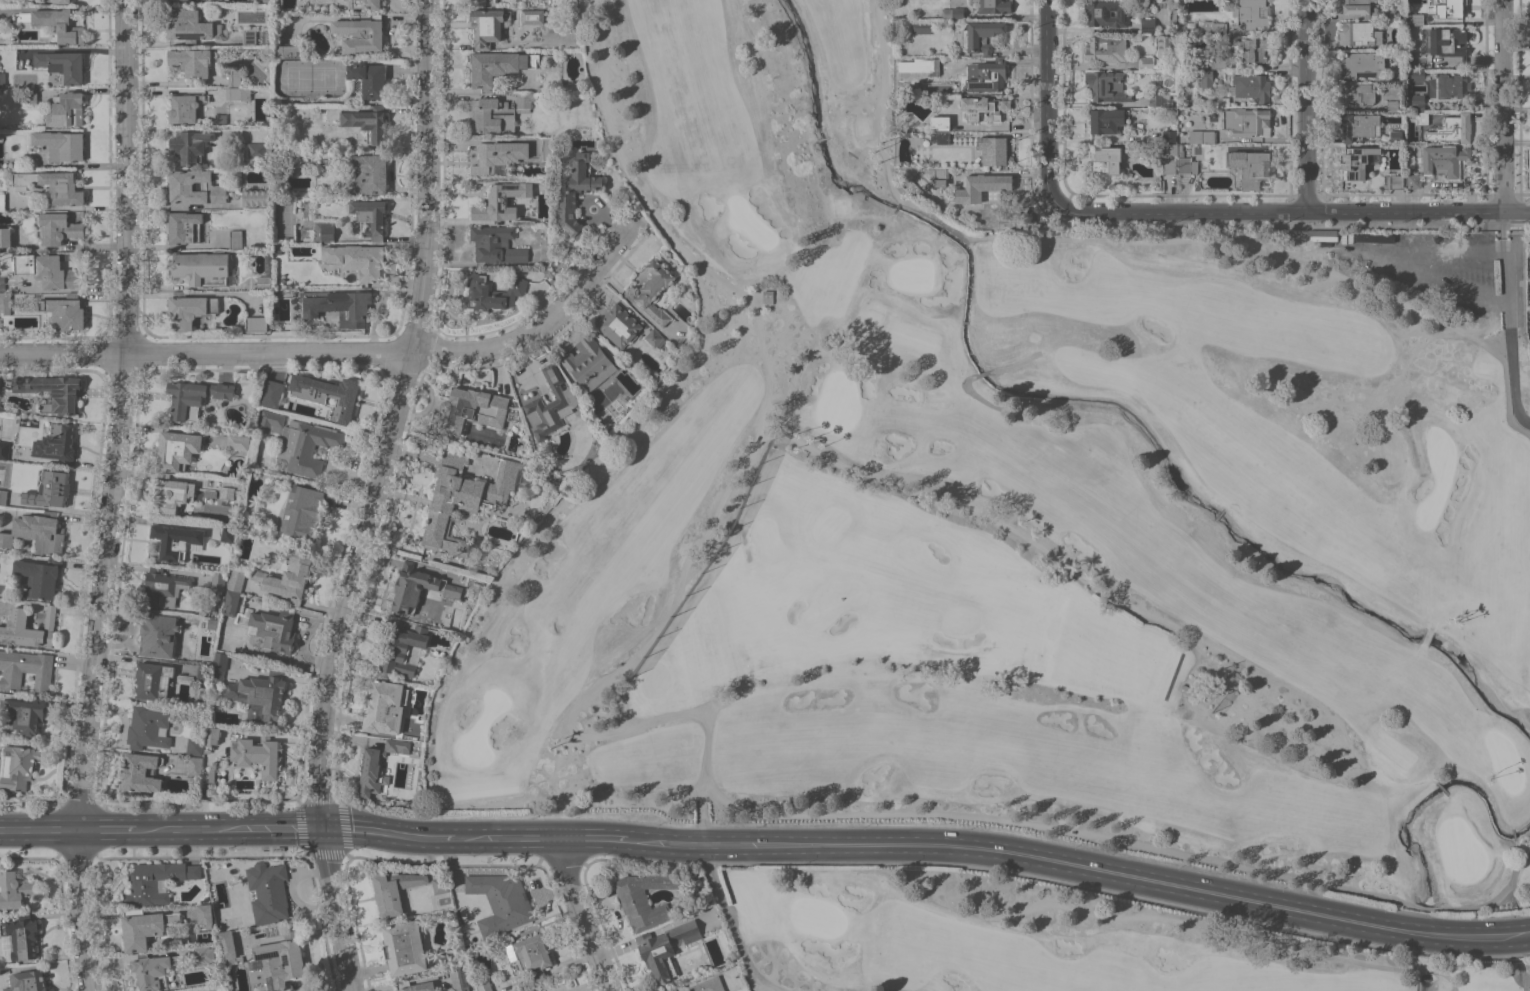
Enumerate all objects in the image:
building: (60, 1)
building: (180, 1)
building: (484, 1)
building: (364, 4)
building: (994, 6)
building: (1356, 6)
building: (1449, 8)
building: (1107, 12)
building: (1394, 12)
building: (951, 13)
building: (1250, 13)
building: (532, 16)
building: (1414, 19)
building: (1148, 23)
building: (59, 25)
building: (187, 25)
building: (488, 26)
building: (921, 26)
building: (1216, 28)
building: (1359, 33)
building: (359, 34)
building: (249, 36)
building: (980, 36)
building: (1448, 42)
building: (1164, 44)
building: (1250, 47)
building: (1106, 49)
building: (288, 51)
building: (191, 62)
building: (1145, 62)
building: (1209, 62)
building: (1363, 64)
building: (62, 65)
building: (497, 66)
building: (927, 66)
building: (1414, 74)
building: (990, 75)
building: (1397, 76)
building: (234, 77)
building: (1205, 79)
building: (2, 80)
building: (367, 80)
building: (1108, 85)
building: (1452, 85)
building: (569, 86)
building: (1250, 87)
building: (239, 93)
building: (1357, 93)
building: (29, 97)
building: (1160, 99)
road: (1045, 101)
building: (1414, 102)
building: (1392, 105)
road: (1501, 105)
road: (1303, 106)
building: (983, 107)
building: (184, 108)
building: (66, 109)
building: (498, 113)
building: (1419, 117)
building: (221, 119)
building: (1106, 120)
building: (940, 121)
building: (1246, 122)
building: (367, 123)
building: (1358, 125)
building: (1457, 127)
building: (1167, 135)
building: (1202, 136)
building: (1396, 136)
building: (940, 137)
building: (61, 145)
building: (190, 145)
building: (545, 148)
building: (258, 150)
building: (993, 151)
building: (497, 157)
building: (1168, 157)
building: (295, 158)
building: (1106, 159)
building: (1443, 160)
building: (1358, 161)
road: (78, 164)
building: (1186, 164)
building: (1251, 168)
building: (365, 172)
building: (937, 176)
building: (1413, 180)
building: (1394, 182)
building: (52, 186)
building: (981, 186)
building: (213, 187)
building: (572, 191)
building: (254, 197)
building: (928, 197)
building: (501, 200)
building: (2, 201)
road: (1289, 212)
building: (369, 217)
road: (1501, 218)
building: (58, 228)
building: (184, 228)
building: (323, 231)
road: (1501, 231)
building: (5, 236)
road: (1149, 238)
building: (235, 239)
building: (496, 244)
building: (562, 245)
building: (278, 253)
building: (356, 259)
road: (1430, 260)
building: (203, 268)
road: (1503, 268)
building: (47, 270)
building: (265, 275)
building: (654, 290)
building: (492, 292)
building: (767, 293)
building: (4, 303)
building: (337, 305)
building: (189, 309)
building: (64, 311)
building: (256, 324)
building: (618, 325)
building: (654, 338)
road: (348, 355)
building: (617, 359)
building: (588, 363)
road: (1015, 364)
road: (1511, 365)
road: (981, 373)
building: (52, 392)
building: (270, 392)
building: (327, 394)
road: (975, 395)
building: (194, 397)
building: (550, 405)
building: (1, 408)
building: (471, 409)
road: (120, 416)
road: (393, 417)
building: (270, 421)
building: (238, 442)
building: (56, 443)
building: (305, 446)
building: (3, 449)
building: (176, 449)
building: (49, 489)
building: (229, 492)
building: (171, 494)
building: (3, 495)
road: (736, 498)
building: (465, 499)
building: (300, 510)
park: (1019, 512)
building: (247, 517)
building: (36, 532)
building: (222, 533)
building: (176, 541)
road: (1073, 572)
building: (37, 577)
building: (287, 577)
building: (236, 579)
building: (216, 586)
building: (162, 587)
building: (418, 587)
building: (230, 602)
building: (2, 607)
building: (211, 623)
building: (29, 628)
building: (274, 629)
building: (160, 636)
building: (402, 647)
building: (1151, 650)
building: (219, 664)
building: (25, 670)
building: (203, 674)
building: (184, 678)
building: (152, 681)
building: (1185, 688)
building: (259, 692)
building: (200, 696)
building: (383, 706)
building: (254, 712)
building: (25, 714)
building: (147, 727)
building: (211, 737)
building: (194, 746)
building: (258, 756)
building: (194, 765)
building: (378, 765)
building: (17, 766)
building: (140, 772)
building: (211, 775)
road: (230, 829)
traffic signals: (323, 829)
road: (107, 830)
road: (38, 831)
road: (394, 835)
road: (600, 838)
road: (514, 839)
road: (1123, 841)
road: (1083, 866)
building: (156, 881)
building: (439, 885)
building: (14, 890)
building: (268, 891)
building: (394, 891)
road: (1513, 895)
building: (645, 898)
building: (502, 899)
road: (338, 910)
road: (79, 911)
building: (205, 915)
road: (583, 915)
road: (731, 923)
building: (144, 927)
road: (1225, 934)
building: (204, 936)
road: (1526, 936)
building: (19, 938)
park: (1031, 939)
building: (404, 947)
building: (227, 948)
building: (666, 948)
building: (203, 955)
building: (530, 956)
building: (278, 961)
building: (152, 970)
road: (1523, 974)
road: (752, 978)
building: (459, 979)
building: (26, 981)
building: (482, 983)
building: (707, 985)
building: (414, 986)
building: (669, 990)

